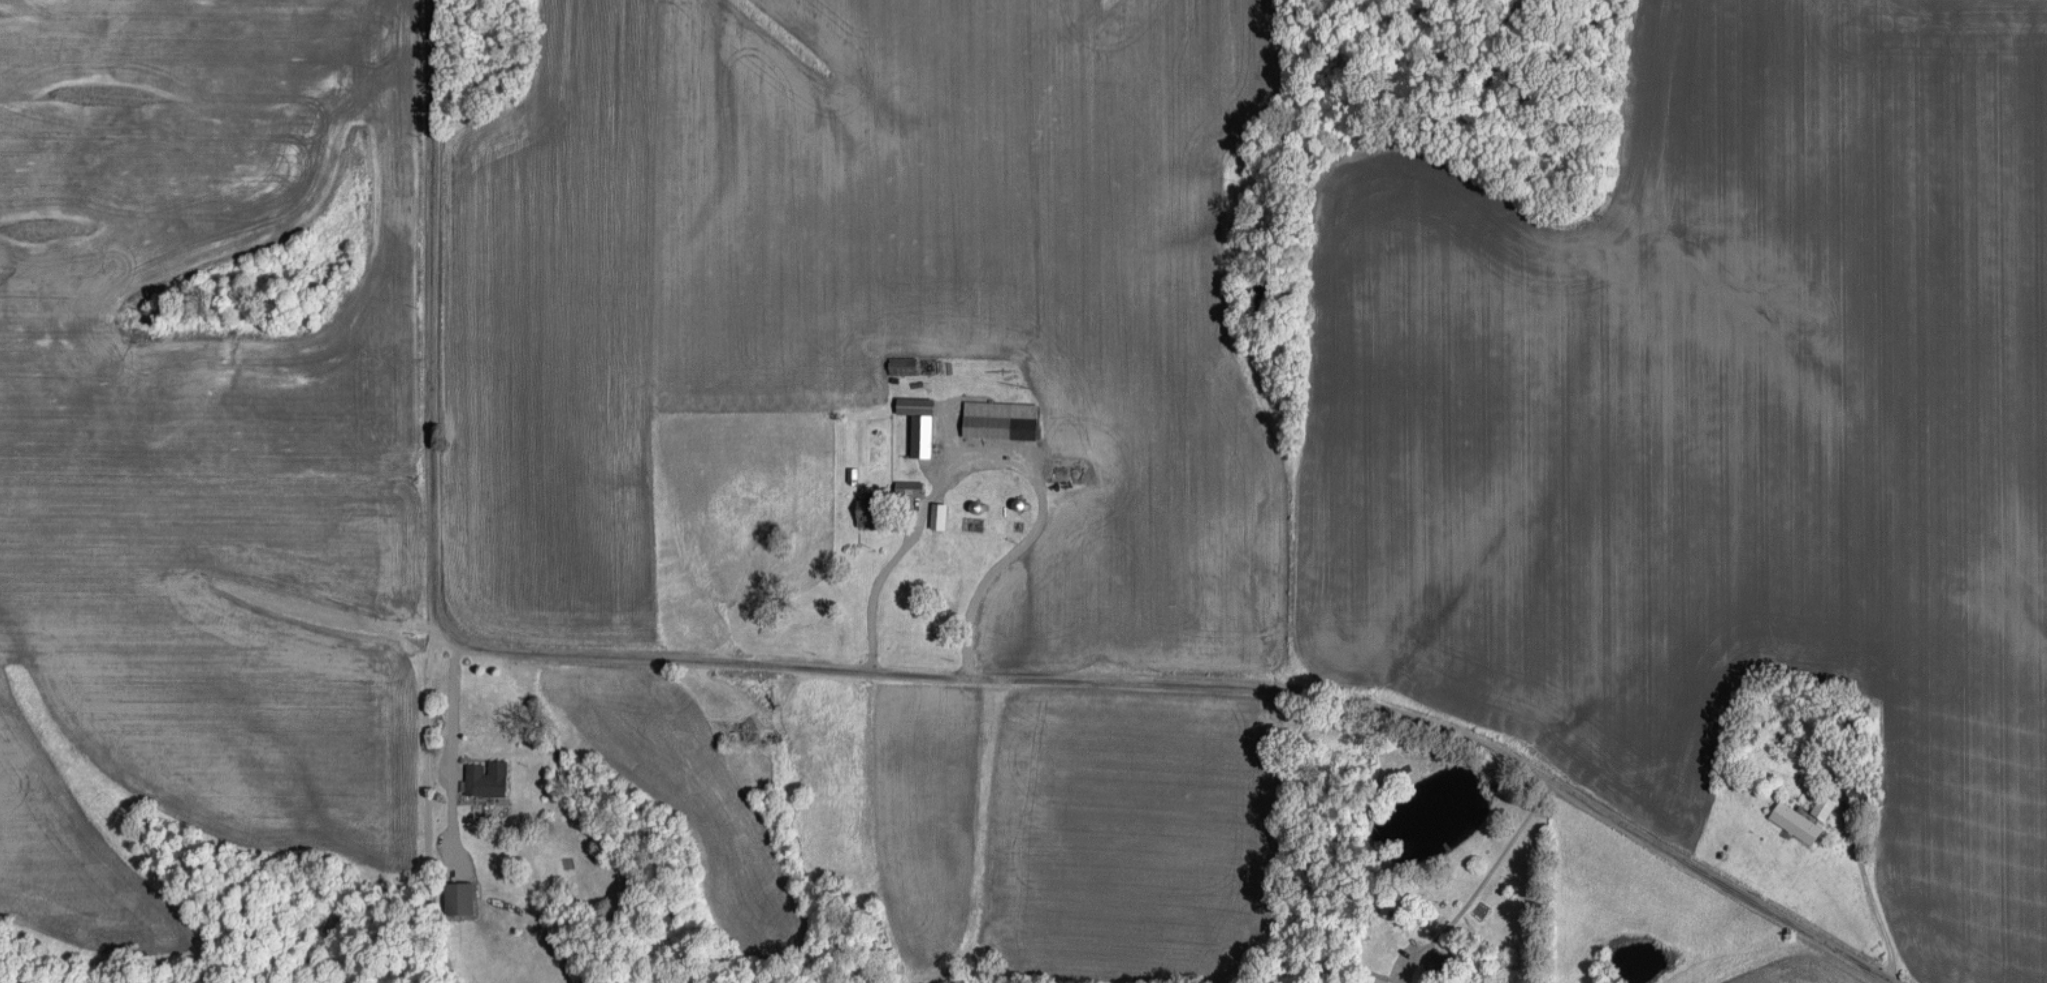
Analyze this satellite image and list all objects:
building: (1001, 419)
building: (919, 423)
road: (998, 460)
building: (909, 487)
building: (866, 512)
building: (939, 515)
road: (889, 671)
road: (453, 748)
building: (487, 777)
building: (1824, 805)
building: (1796, 821)
road: (427, 849)
road: (1863, 874)
road: (1486, 877)
building: (459, 896)
building: (1436, 960)
building: (1383, 980)

